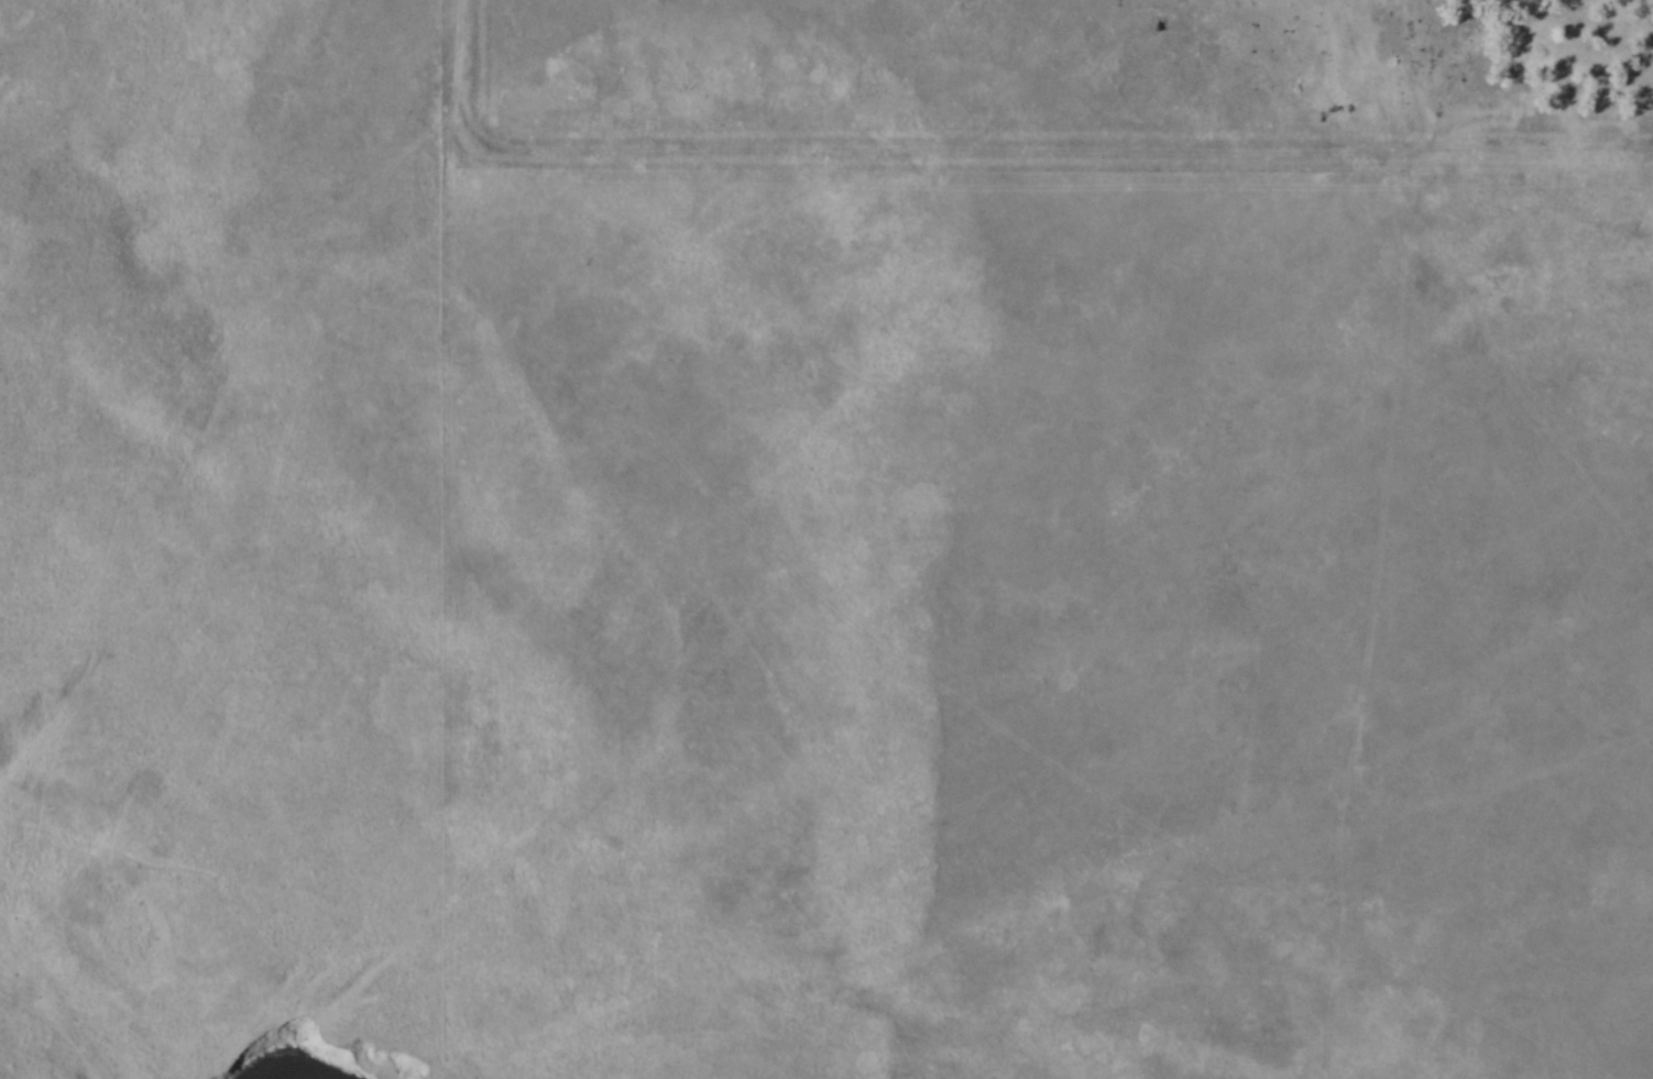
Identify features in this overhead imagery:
road: (494, 53)

